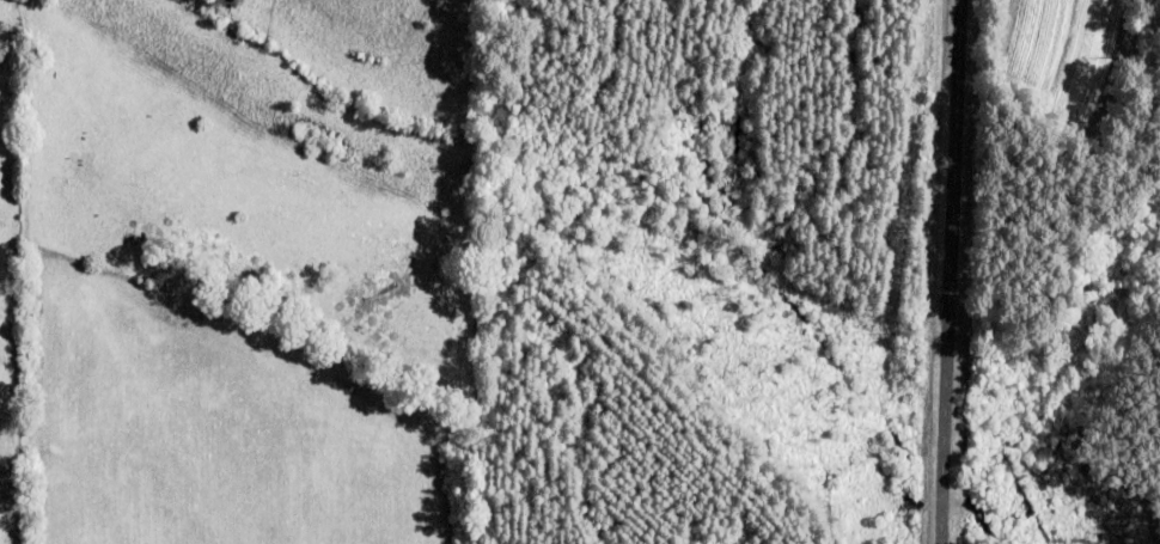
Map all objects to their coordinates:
road: (952, 271)

